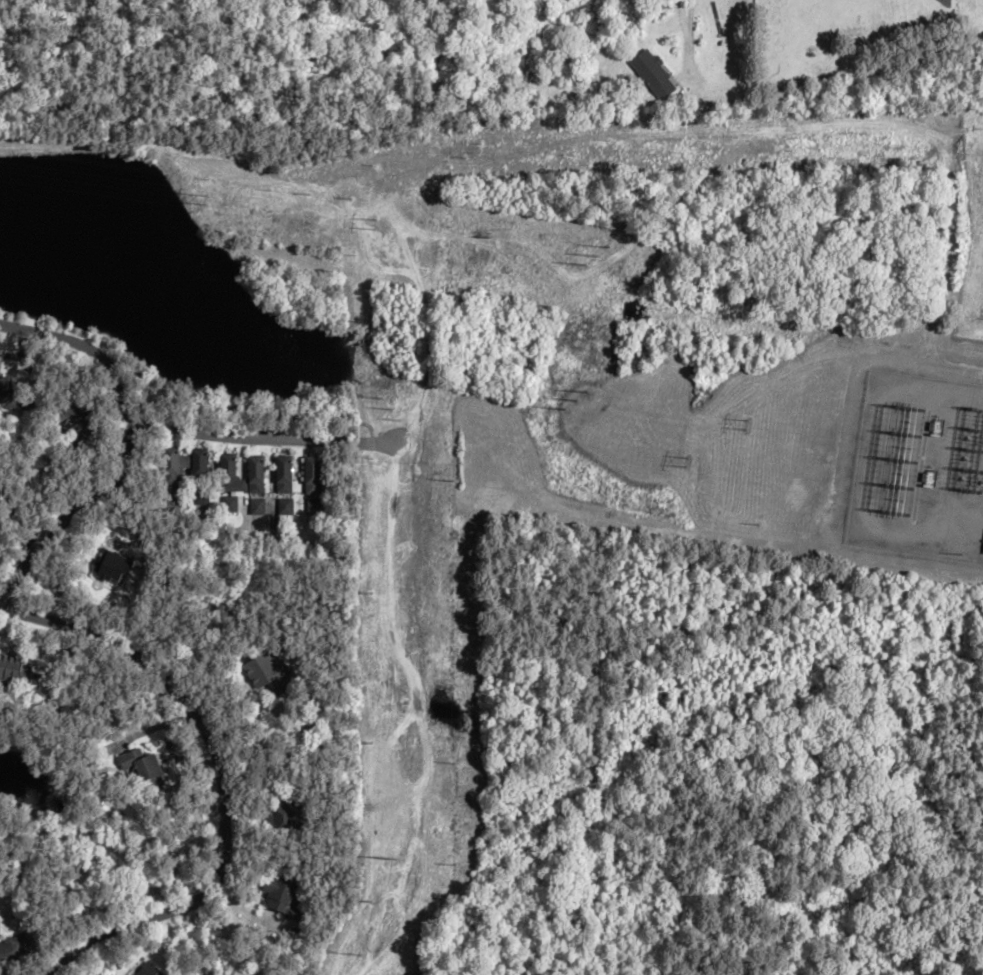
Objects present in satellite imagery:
road: (679, 32)
building: (653, 75)
building: (8, 395)
power tower: (387, 408)
building: (78, 419)
road: (260, 438)
road: (127, 452)
power tower: (685, 458)
power substation: (917, 458)
building: (174, 473)
building: (256, 474)
building: (284, 474)
building: (231, 475)
building: (314, 475)
building: (200, 476)
building: (228, 504)
building: (256, 506)
building: (284, 507)
building: (313, 507)
building: (982, 544)
building: (116, 569)
building: (15, 669)
building: (266, 670)
building: (145, 769)
road: (225, 776)
building: (288, 815)
power tower: (393, 858)
building: (285, 897)
building: (17, 949)
building: (151, 970)

